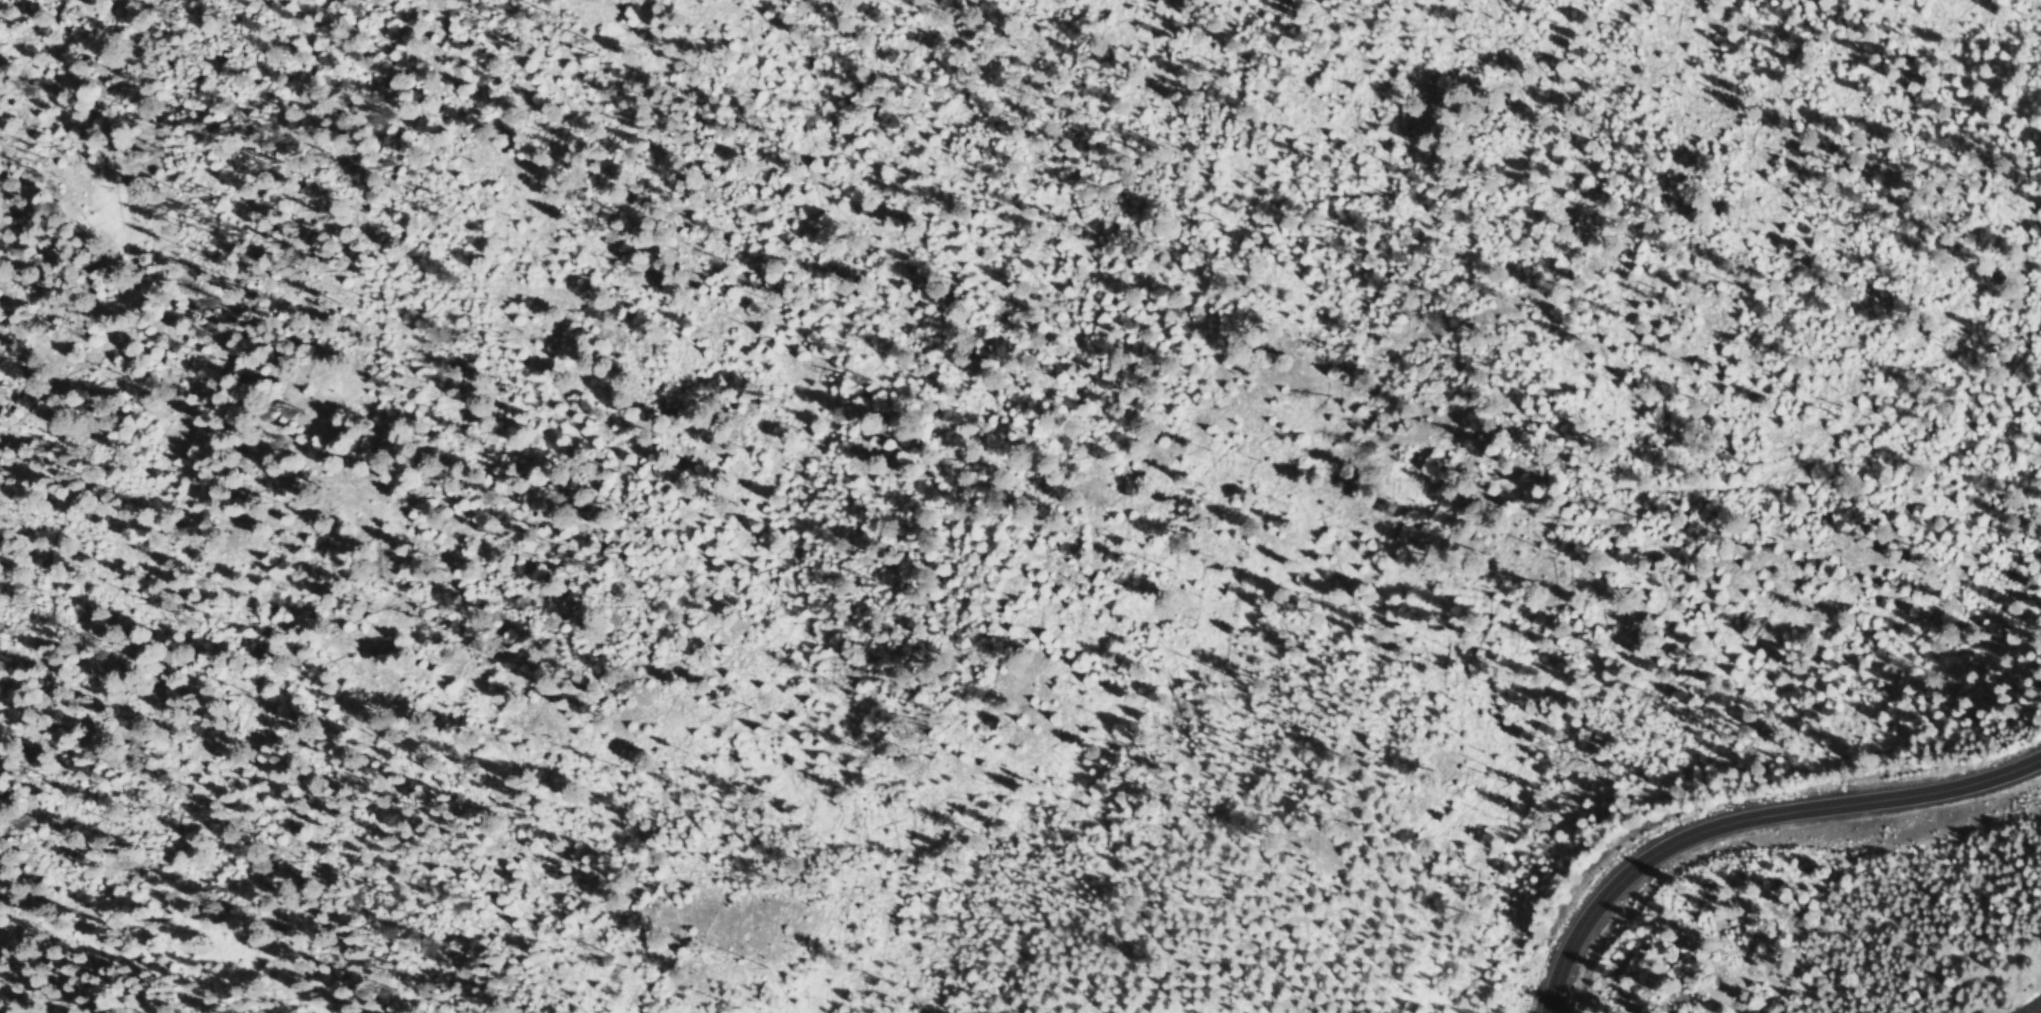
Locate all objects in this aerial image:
road: (1749, 815)
parking lot: (2035, 1007)

